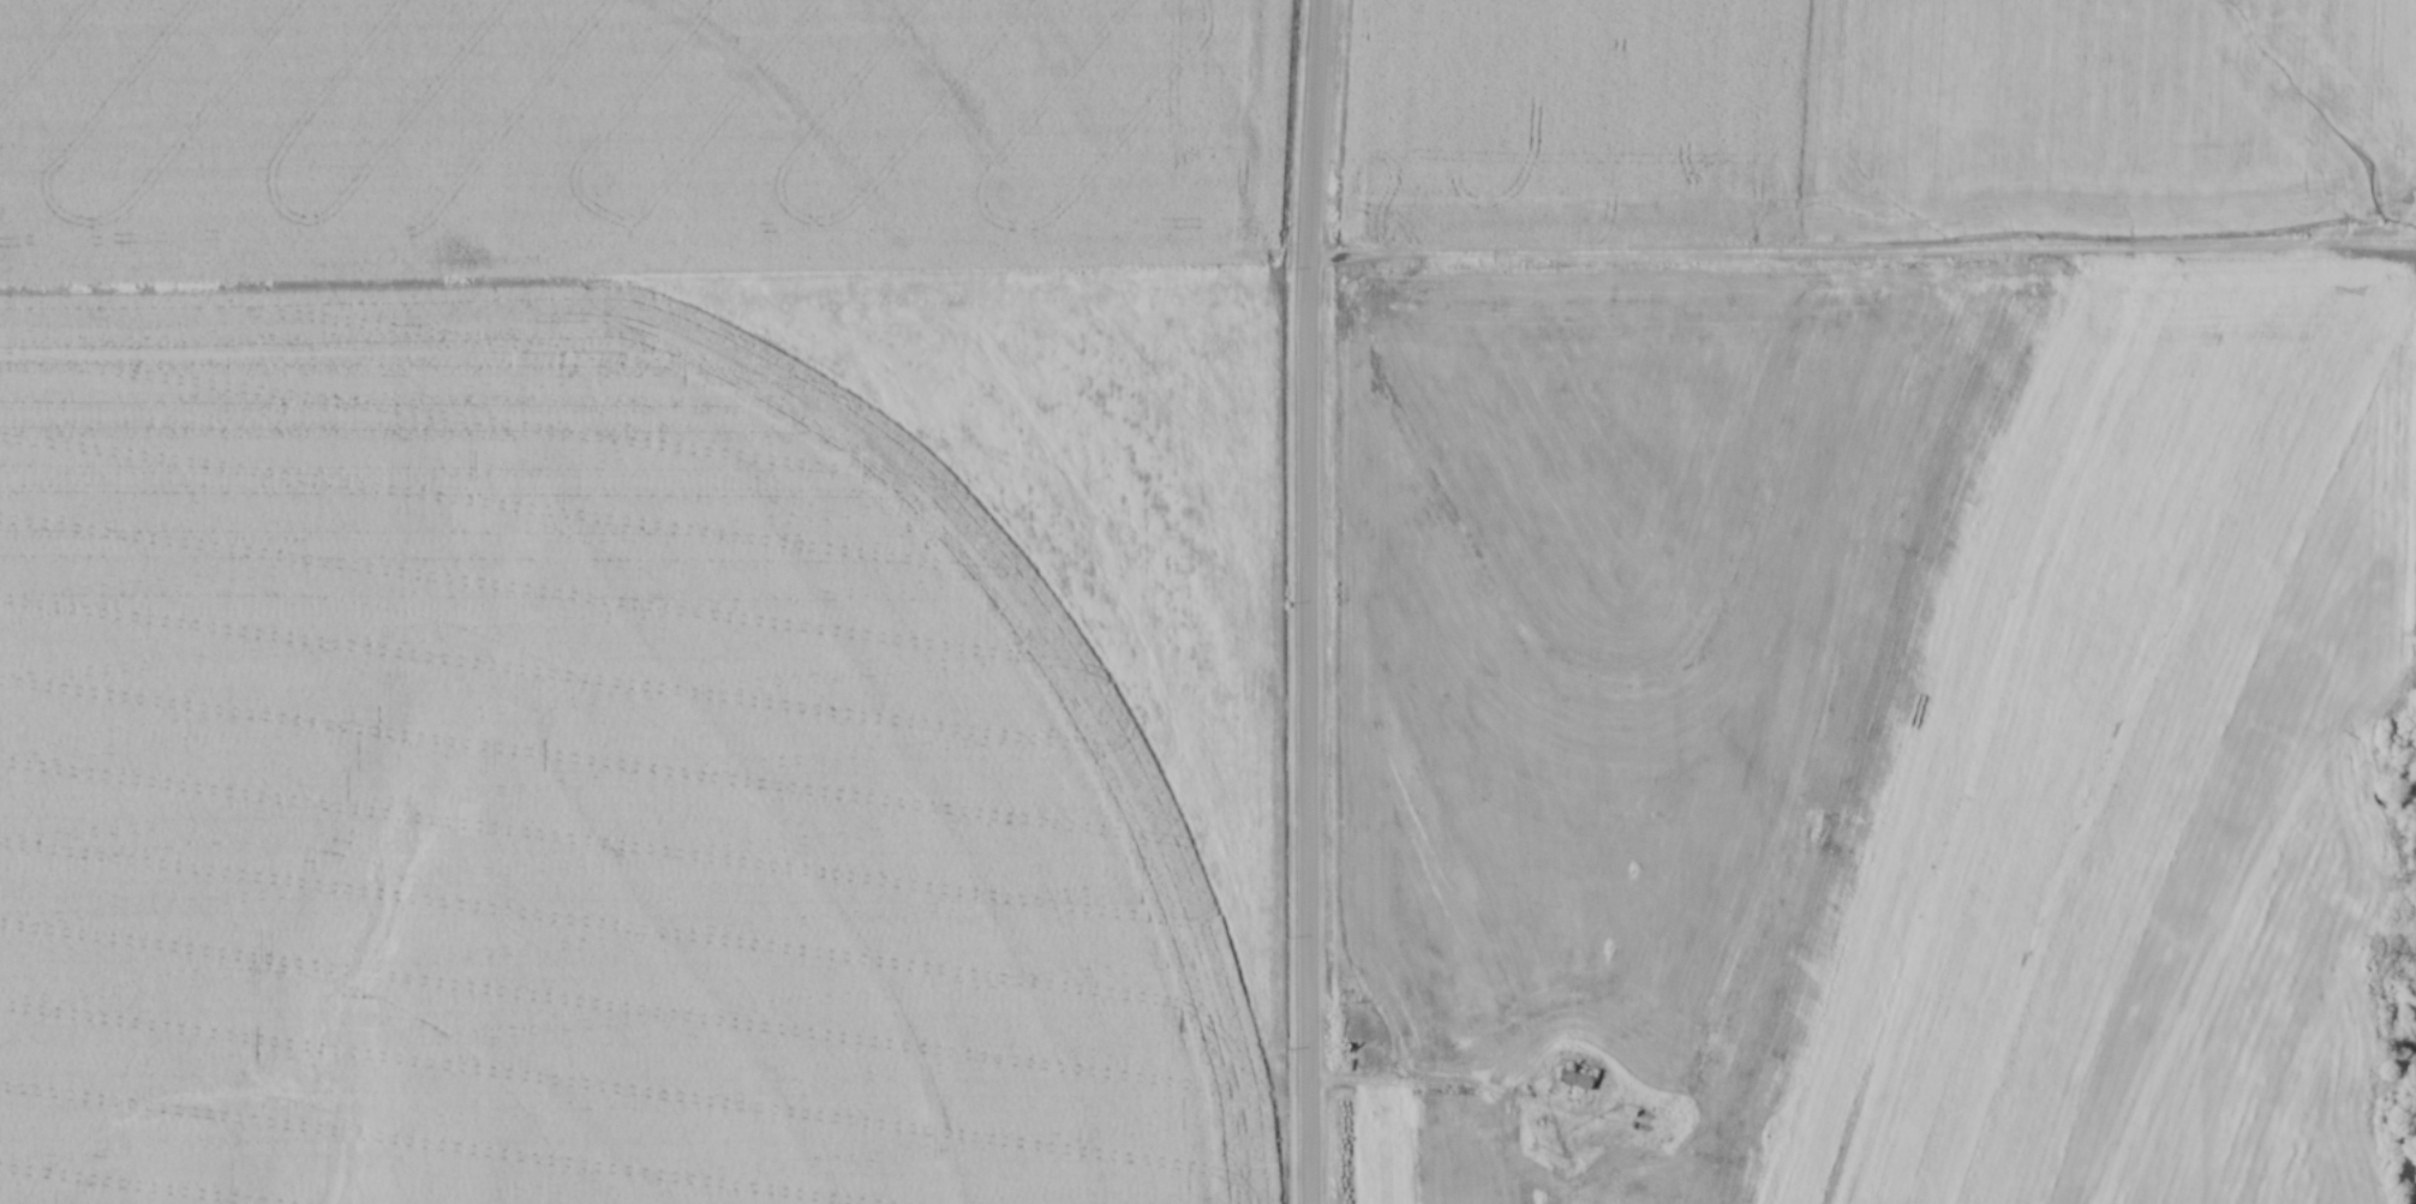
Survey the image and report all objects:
road: (1302, 601)
road: (1411, 1083)

